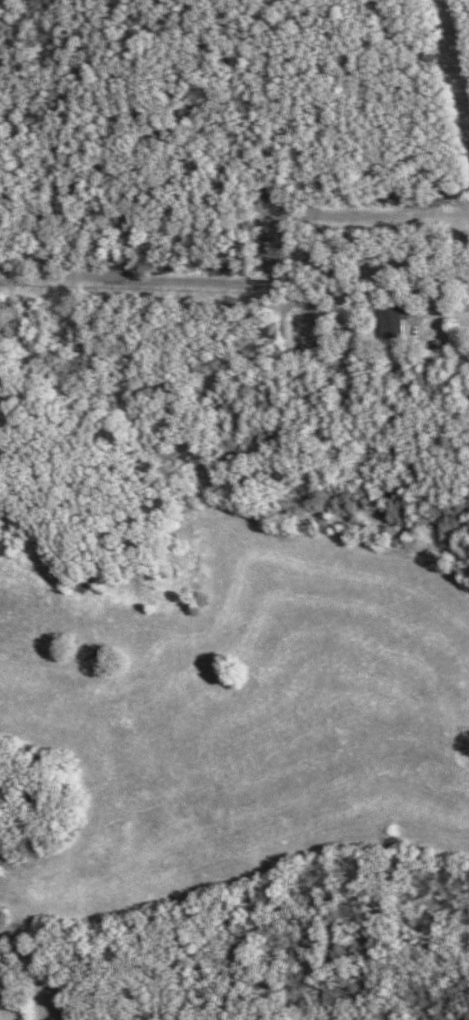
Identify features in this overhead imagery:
road: (449, 312)
building: (391, 320)

